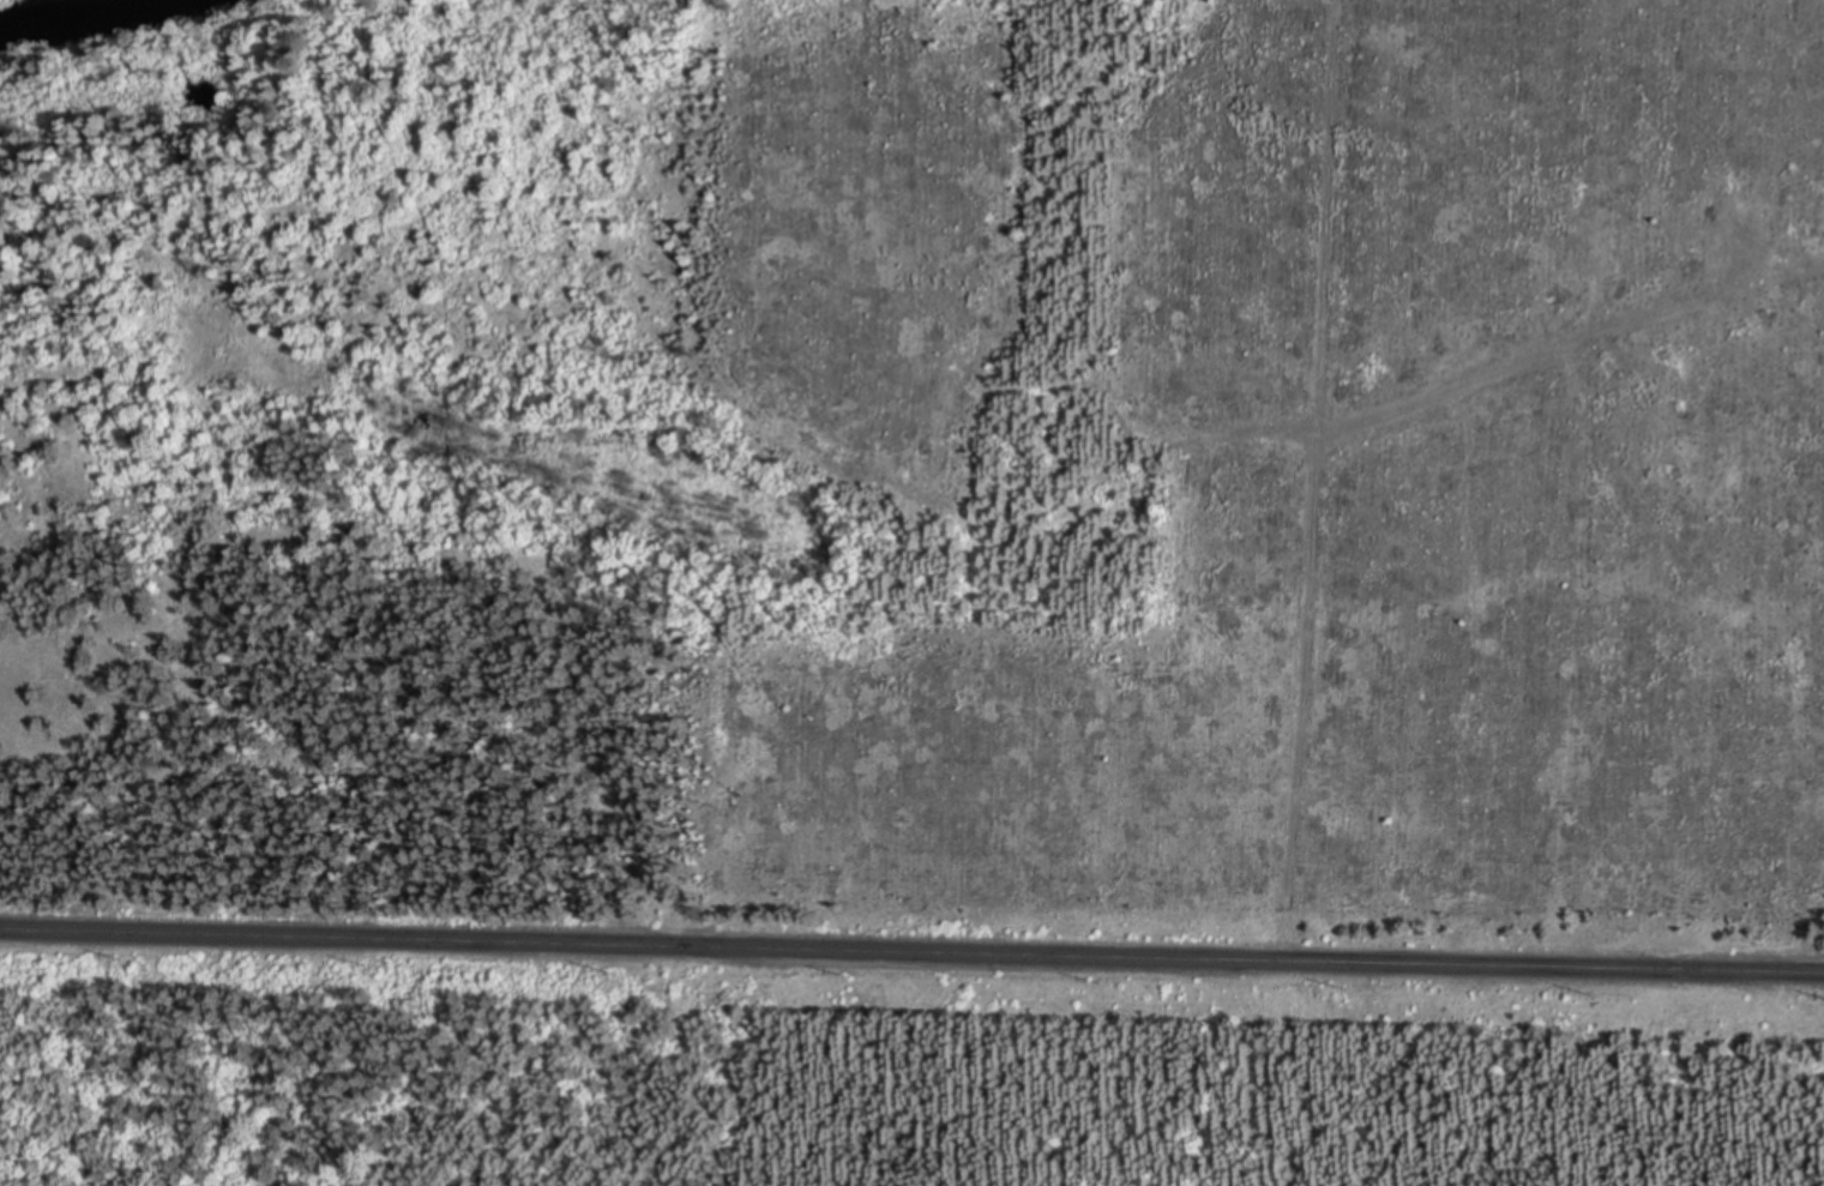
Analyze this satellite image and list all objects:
river: (71, 19)
road: (911, 957)

